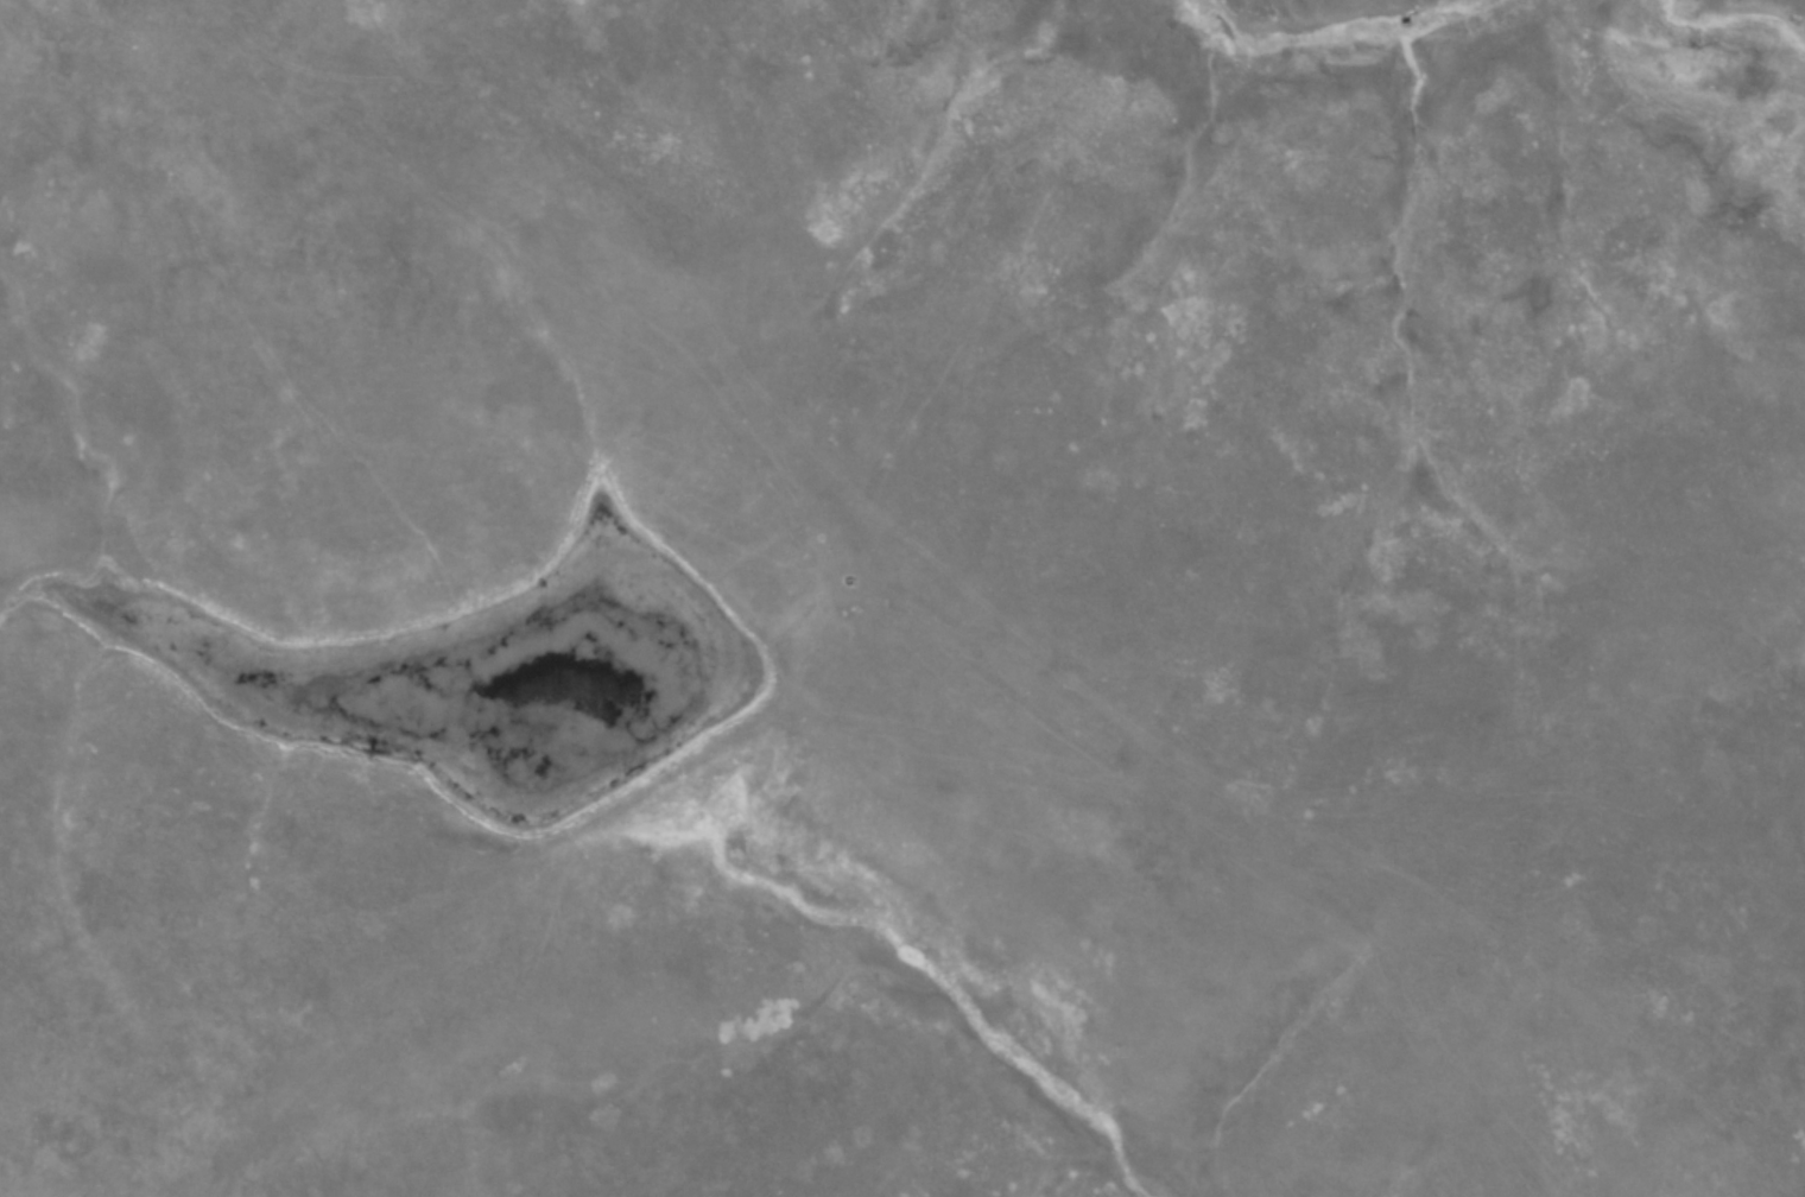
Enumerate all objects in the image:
road: (933, 546)

